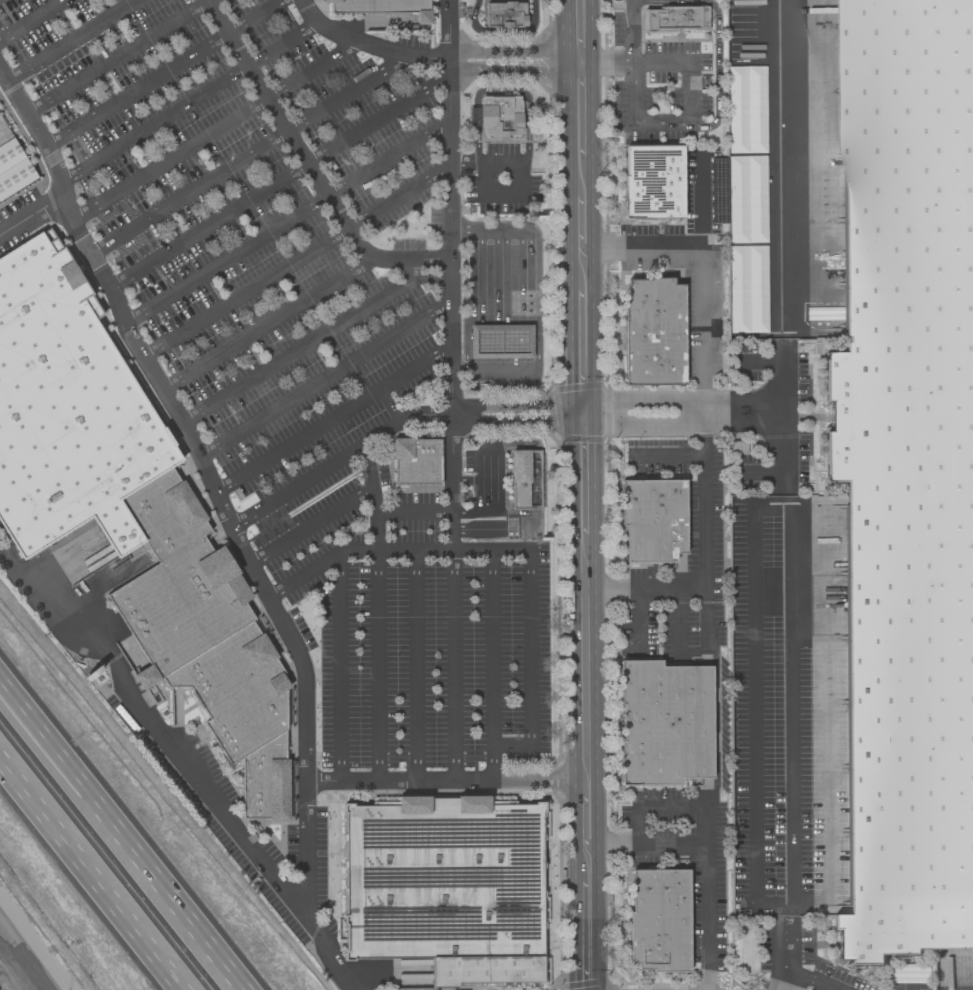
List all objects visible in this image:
road: (628, 0)
road: (658, 0)
building: (376, 6)
building: (503, 13)
building: (675, 18)
road: (31, 20)
road: (501, 30)
road: (565, 31)
road: (590, 31)
road: (69, 39)
road: (371, 40)
road: (116, 55)
road: (509, 60)
road: (691, 61)
road: (578, 62)
road: (610, 62)
road: (162, 73)
road: (717, 81)
road: (501, 91)
road: (629, 94)
road: (188, 102)
road: (591, 109)
building: (498, 116)
road: (671, 125)
road: (217, 129)
road: (567, 130)
road: (250, 150)
road: (49, 160)
building: (14, 163)
road: (308, 164)
road: (280, 179)
building: (652, 181)
road: (522, 183)
road: (288, 219)
road: (568, 221)
road: (580, 245)
road: (696, 246)
road: (297, 257)
road: (452, 266)
road: (568, 268)
road: (593, 288)
road: (540, 298)
road: (472, 299)
road: (569, 303)
road: (265, 322)
road: (705, 330)
building: (653, 331)
building: (500, 341)
gas station: (500, 341)
road: (308, 345)
road: (570, 367)
road: (325, 377)
road: (649, 399)
building: (66, 408)
road: (743, 415)
road: (332, 419)
road: (582, 419)
road: (650, 427)
road: (781, 444)
building: (737, 446)
road: (688, 454)
road: (337, 460)
building: (414, 460)
building: (907, 474)
building: (524, 477)
road: (594, 477)
road: (207, 478)
road: (413, 507)
building: (162, 514)
building: (652, 519)
road: (311, 527)
road: (374, 537)
road: (319, 564)
road: (706, 571)
building: (181, 606)
road: (634, 621)
road: (676, 631)
road: (529, 646)
road: (492, 647)
road: (572, 649)
road: (453, 655)
road: (378, 664)
road: (416, 664)
road: (338, 666)
building: (233, 691)
road: (713, 712)
building: (663, 722)
road: (596, 761)
road: (186, 763)
building: (262, 779)
road: (304, 779)
road: (651, 803)
road: (583, 816)
road: (118, 837)
road: (703, 860)
road: (91, 875)
building: (445, 887)
building: (658, 919)
road: (573, 935)
road: (802, 975)

